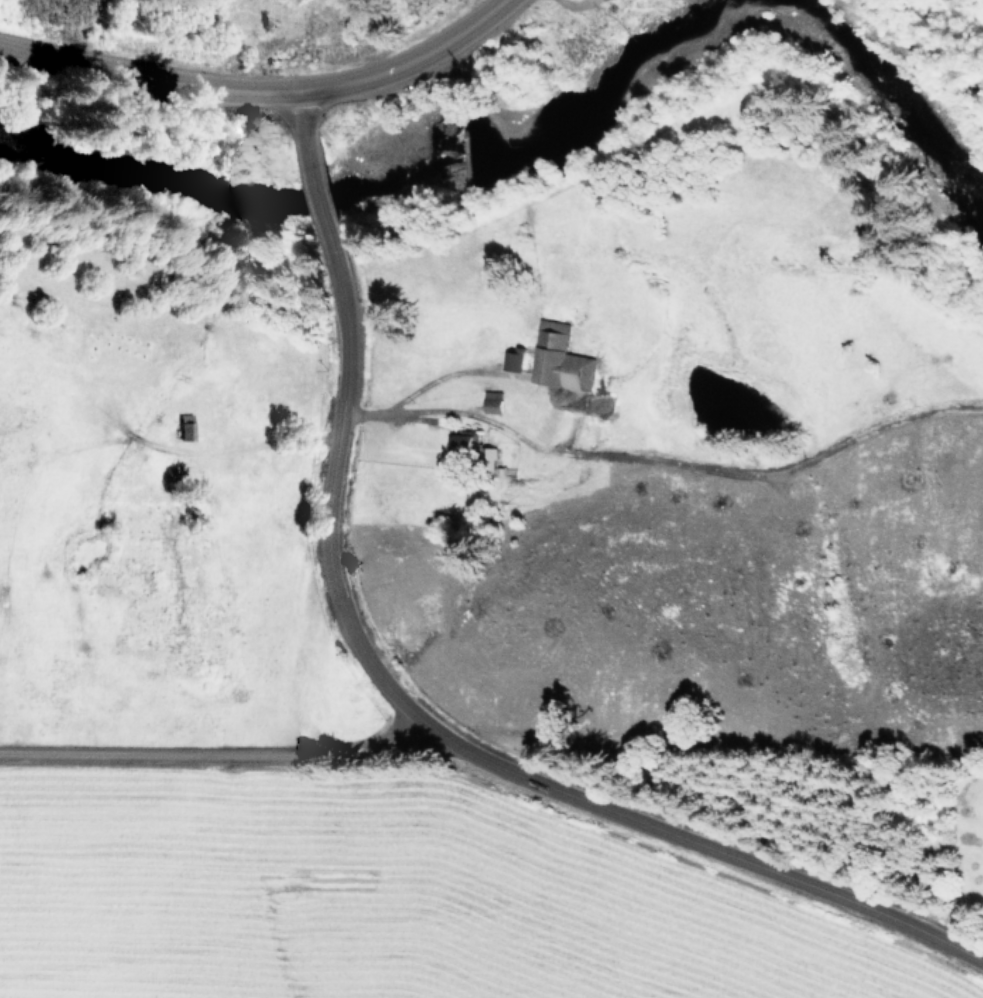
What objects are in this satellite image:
road: (262, 89)
road: (302, 127)
road: (322, 206)
building: (559, 357)
building: (494, 401)
road: (409, 410)
building: (185, 426)
crop: (308, 581)
road: (404, 733)
road: (467, 754)
road: (234, 756)

